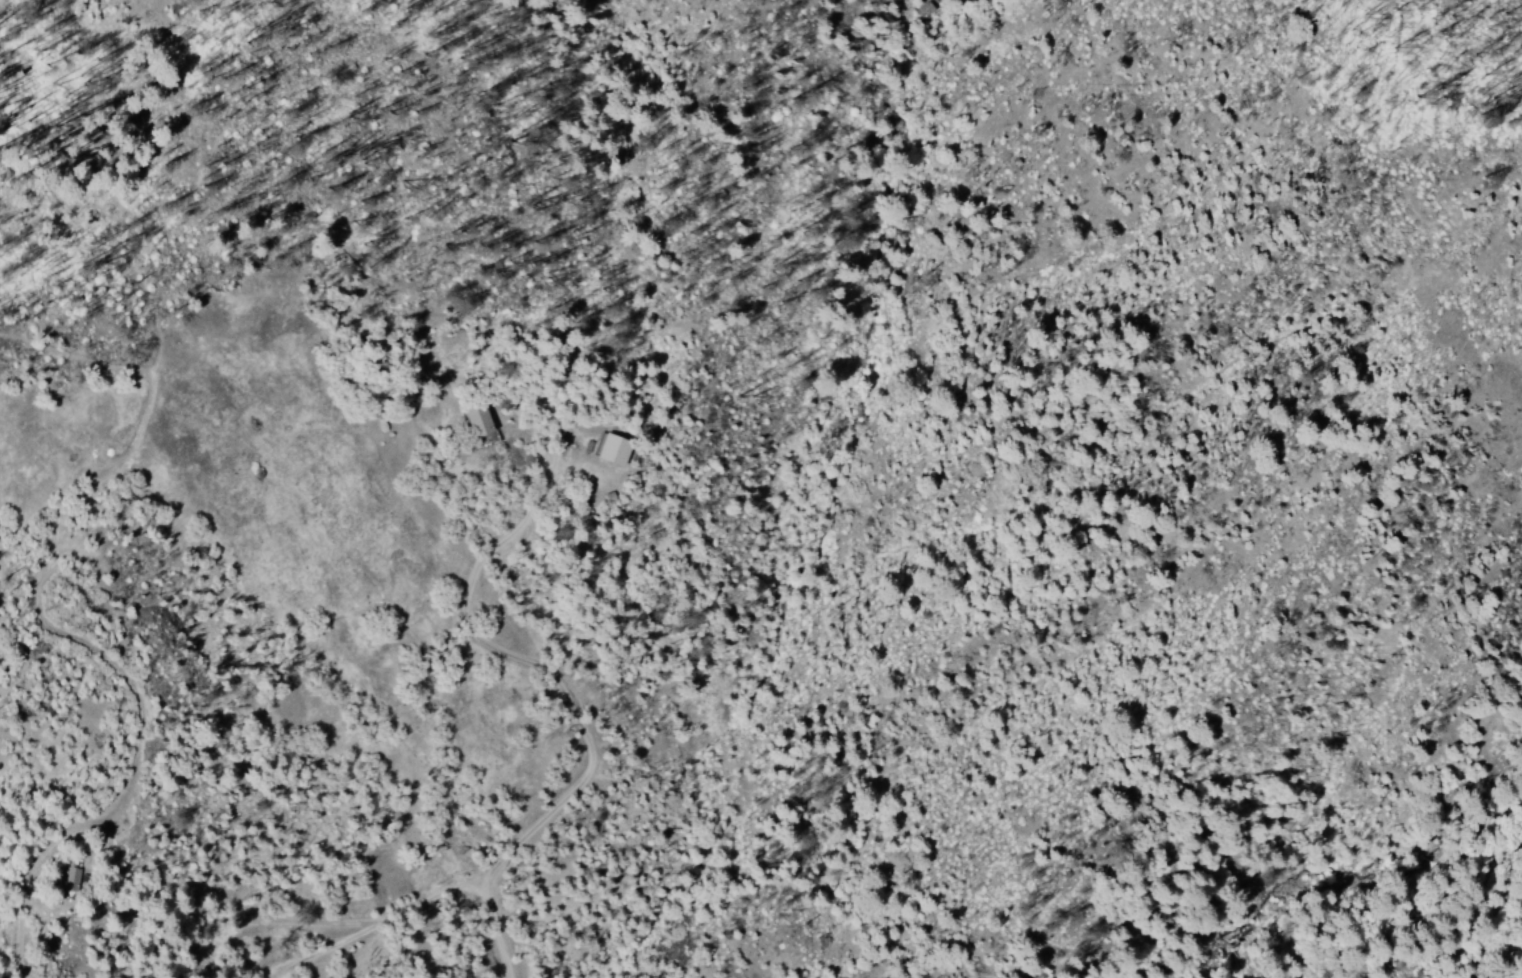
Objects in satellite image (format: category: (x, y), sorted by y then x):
building: (476, 421)
building: (609, 451)
road: (501, 489)
road: (284, 721)
building: (65, 881)
road: (339, 890)

